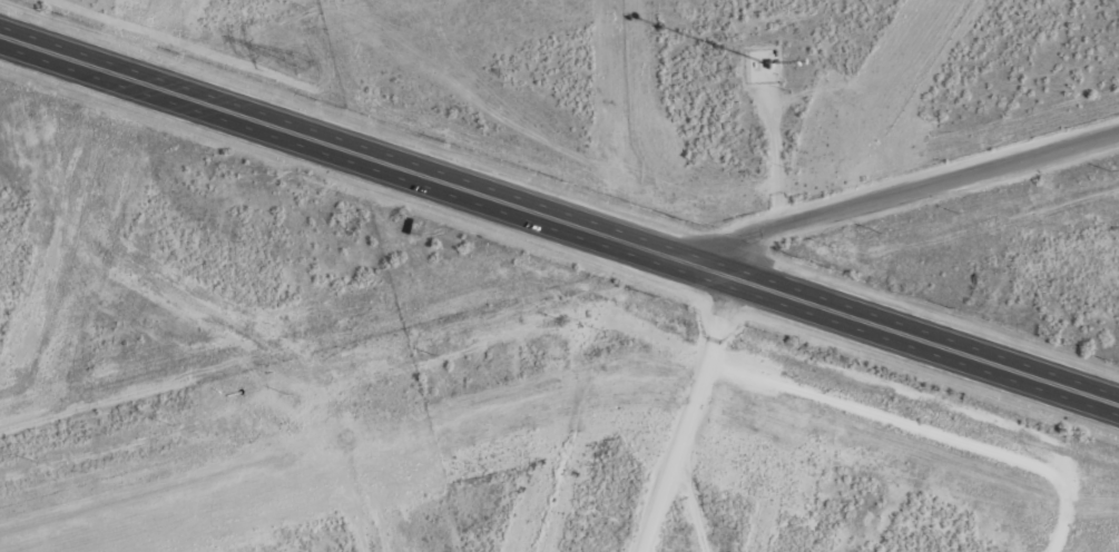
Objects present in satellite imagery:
power tower: (297, 62)
road: (897, 199)
road: (559, 223)
road: (622, 406)
road: (627, 499)

